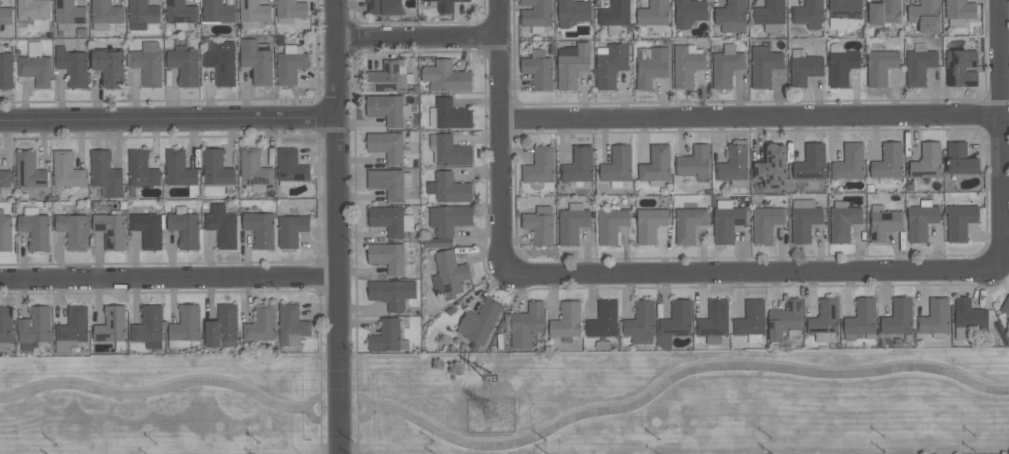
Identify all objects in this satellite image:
building: (445, 5)
building: (384, 6)
building: (290, 10)
building: (32, 11)
building: (217, 11)
building: (254, 11)
building: (959, 11)
building: (573, 12)
building: (689, 12)
building: (843, 12)
building: (884, 12)
building: (142, 13)
building: (180, 13)
building: (68, 14)
building: (105, 14)
building: (808, 14)
building: (6, 15)
building: (536, 15)
building: (615, 15)
building: (654, 15)
building: (769, 15)
building: (925, 15)
building: (731, 16)
road: (417, 34)
building: (256, 61)
building: (222, 62)
building: (147, 63)
building: (184, 64)
building: (290, 64)
building: (572, 64)
building: (610, 64)
building: (686, 64)
building: (919, 64)
building: (35, 65)
building: (651, 65)
building: (764, 65)
building: (841, 65)
building: (73, 66)
building: (726, 66)
building: (880, 66)
building: (110, 67)
building: (961, 68)
building: (805, 69)
building: (6, 70)
building: (539, 70)
building: (446, 76)
building: (387, 77)
building: (387, 108)
building: (451, 113)
road: (750, 116)
road: (168, 118)
road: (998, 136)
road: (500, 137)
building: (387, 145)
building: (449, 150)
building: (960, 158)
building: (694, 161)
building: (927, 161)
building: (850, 162)
building: (811, 163)
building: (888, 163)
building: (540, 165)
building: (578, 165)
building: (617, 165)
building: (656, 165)
building: (734, 165)
building: (290, 167)
building: (772, 167)
building: (217, 168)
building: (141, 169)
building: (29, 170)
building: (66, 170)
building: (254, 170)
building: (180, 171)
building: (105, 172)
building: (6, 178)
building: (389, 182)
building: (451, 188)
building: (449, 218)
building: (387, 219)
building: (804, 219)
building: (921, 220)
building: (727, 221)
building: (843, 221)
building: (960, 221)
building: (572, 223)
building: (688, 223)
building: (765, 223)
building: (883, 223)
road: (354, 224)
building: (611, 224)
building: (650, 224)
building: (222, 225)
building: (539, 225)
building: (185, 227)
road: (338, 227)
building: (35, 228)
building: (259, 228)
building: (110, 229)
building: (147, 229)
building: (291, 229)
building: (73, 230)
building: (5, 232)
building: (388, 257)
building: (449, 274)
road: (748, 274)
road: (169, 280)
building: (392, 293)
building: (1005, 306)
building: (898, 317)
building: (968, 317)
building: (935, 318)
building: (861, 319)
building: (567, 320)
building: (785, 320)
building: (714, 321)
building: (751, 321)
building: (824, 321)
building: (674, 322)
building: (479, 323)
building: (604, 323)
building: (639, 323)
building: (6, 324)
building: (261, 324)
building: (524, 324)
building: (292, 325)
building: (185, 326)
building: (149, 327)
building: (222, 327)
building: (34, 328)
building: (112, 328)
building: (72, 329)
building: (386, 335)
road: (679, 373)
power tower: (494, 378)
road: (164, 388)
road: (320, 402)
park: (512, 404)
road: (369, 407)
power tower: (500, 415)
road: (310, 416)

